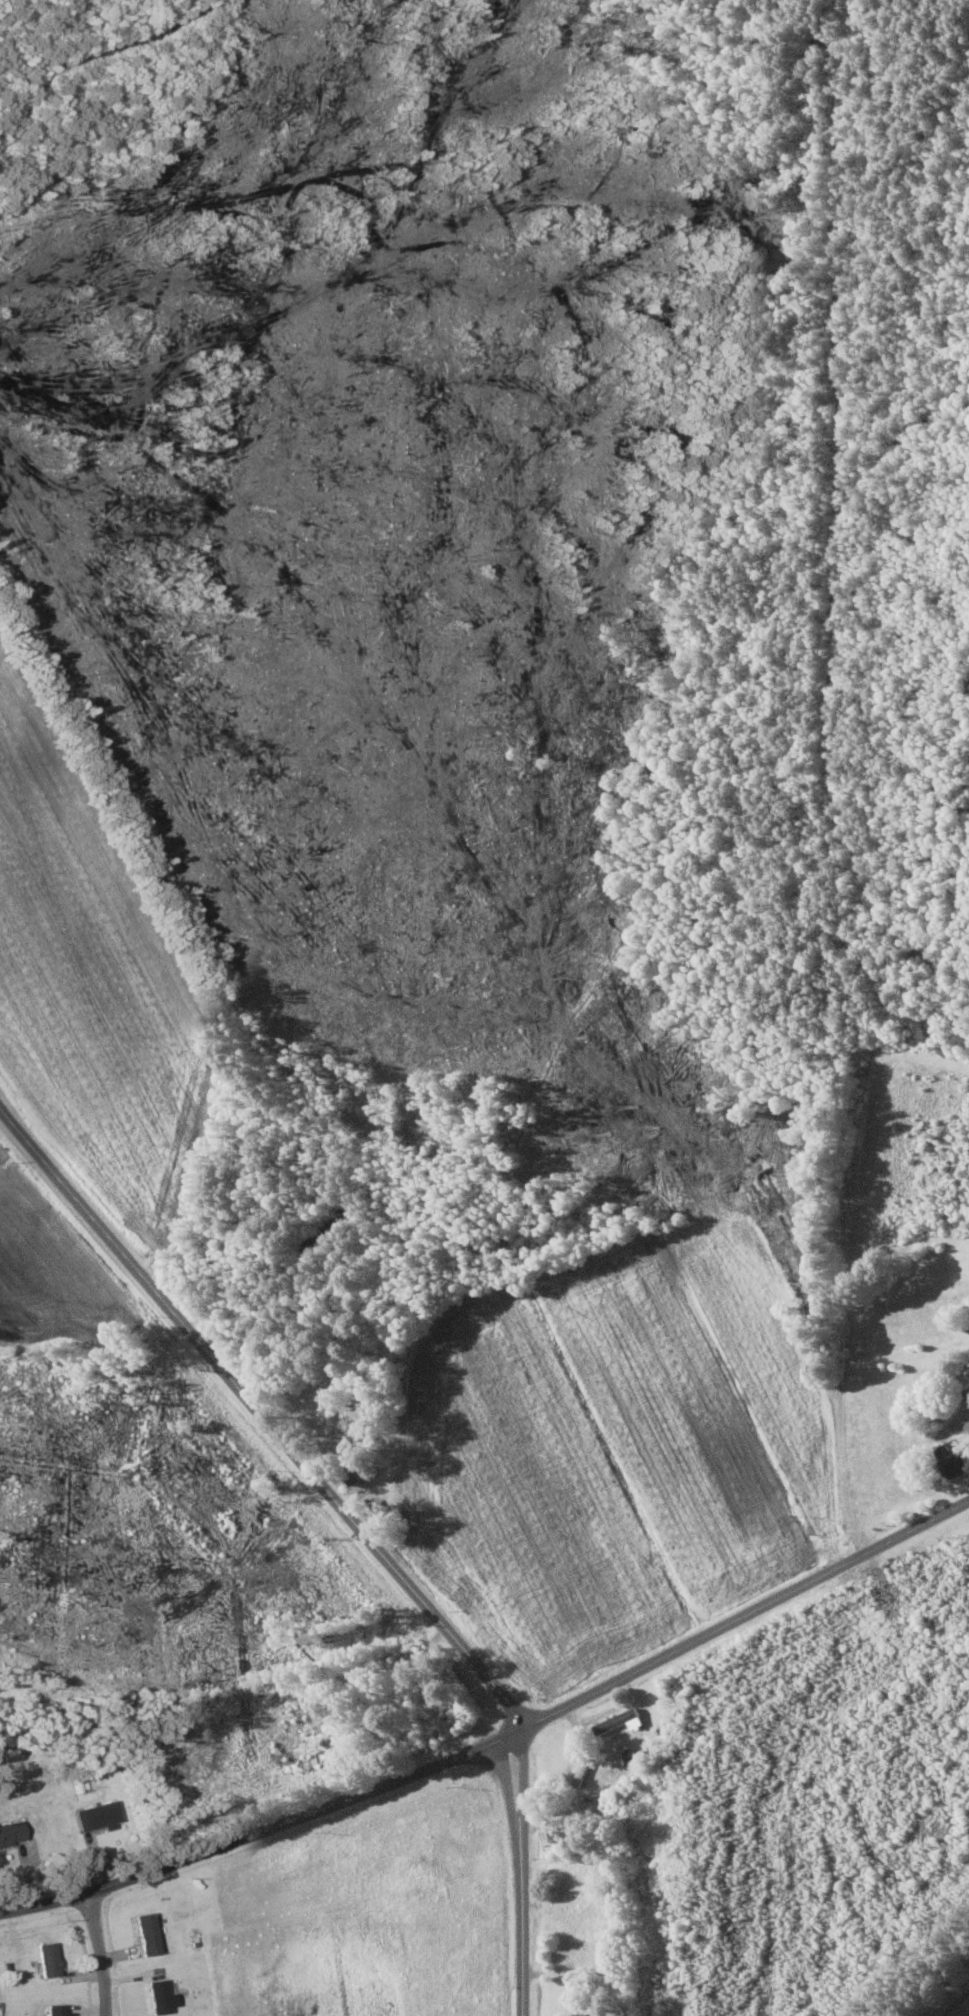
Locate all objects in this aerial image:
building: (968, 1398)
building: (952, 1460)
building: (376, 1508)
road: (362, 1530)
building: (447, 1712)
building: (619, 1724)
road: (498, 1744)
building: (581, 1775)
building: (98, 1816)
building: (11, 1833)
building: (147, 1934)
road: (99, 1953)
building: (49, 1960)
building: (159, 1995)
building: (57, 2009)
road: (965, 2012)

